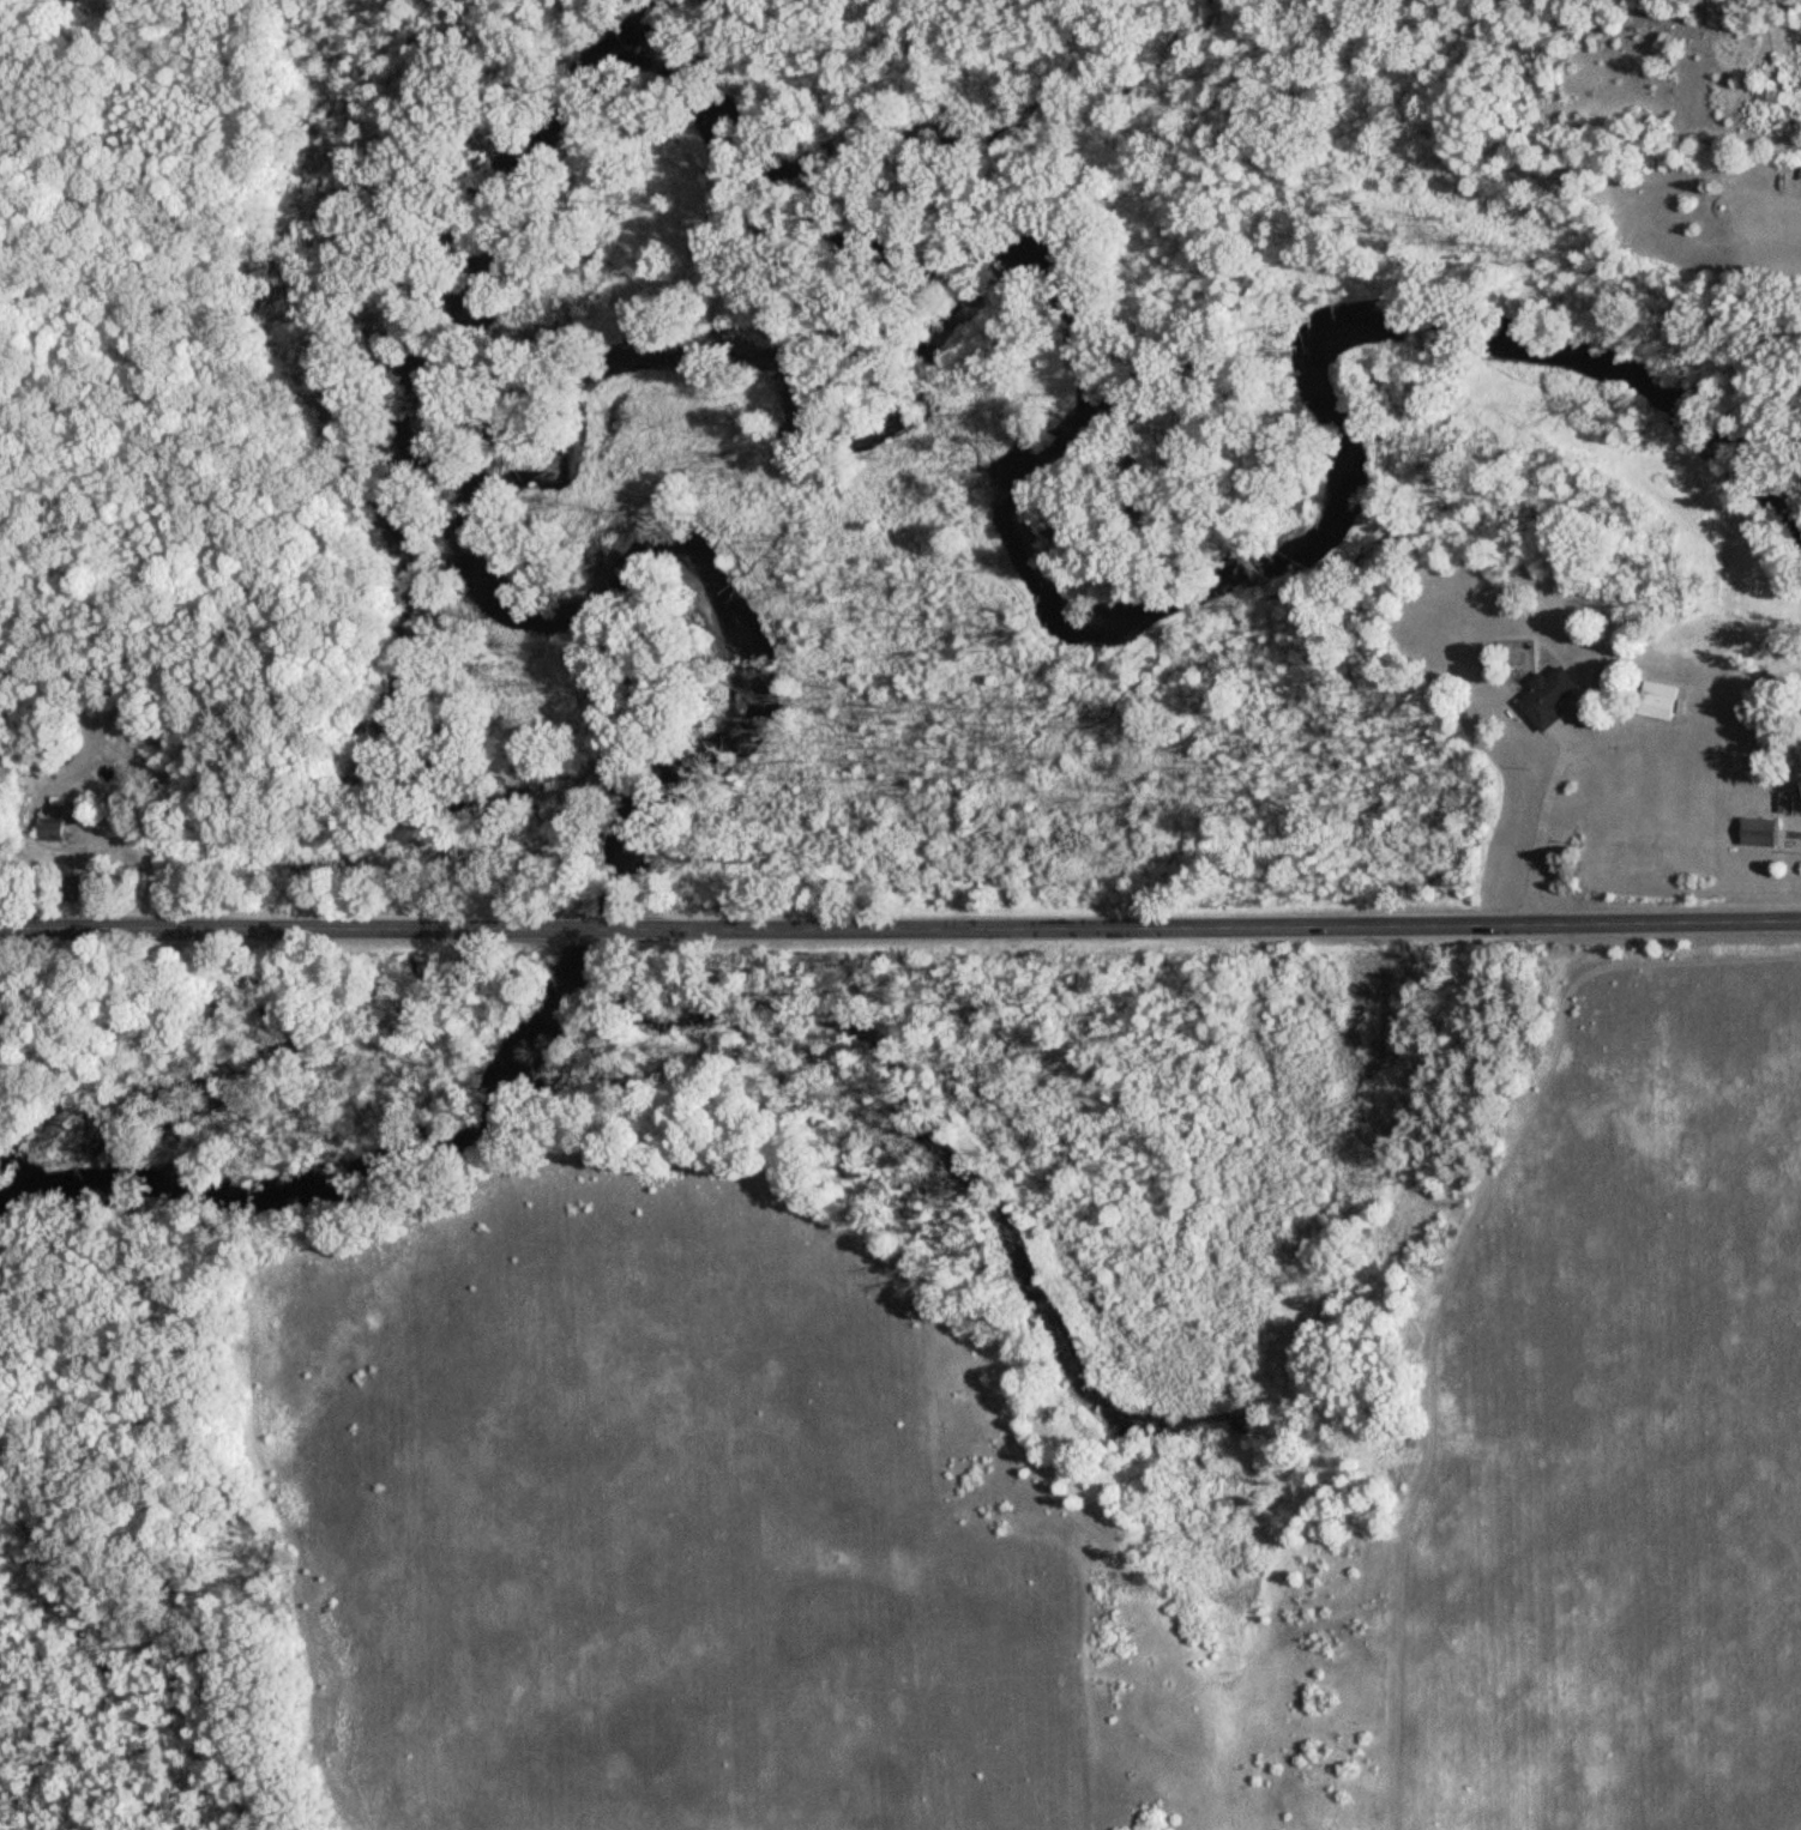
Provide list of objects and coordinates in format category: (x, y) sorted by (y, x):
river: (1320, 491)
river: (687, 615)
building: (1550, 699)
building: (1660, 703)
building: (1788, 807)
building: (50, 823)
road: (1544, 827)
building: (1763, 835)
road: (143, 860)
building: (72, 887)
road: (1217, 926)
road: (271, 930)
road: (588, 932)

